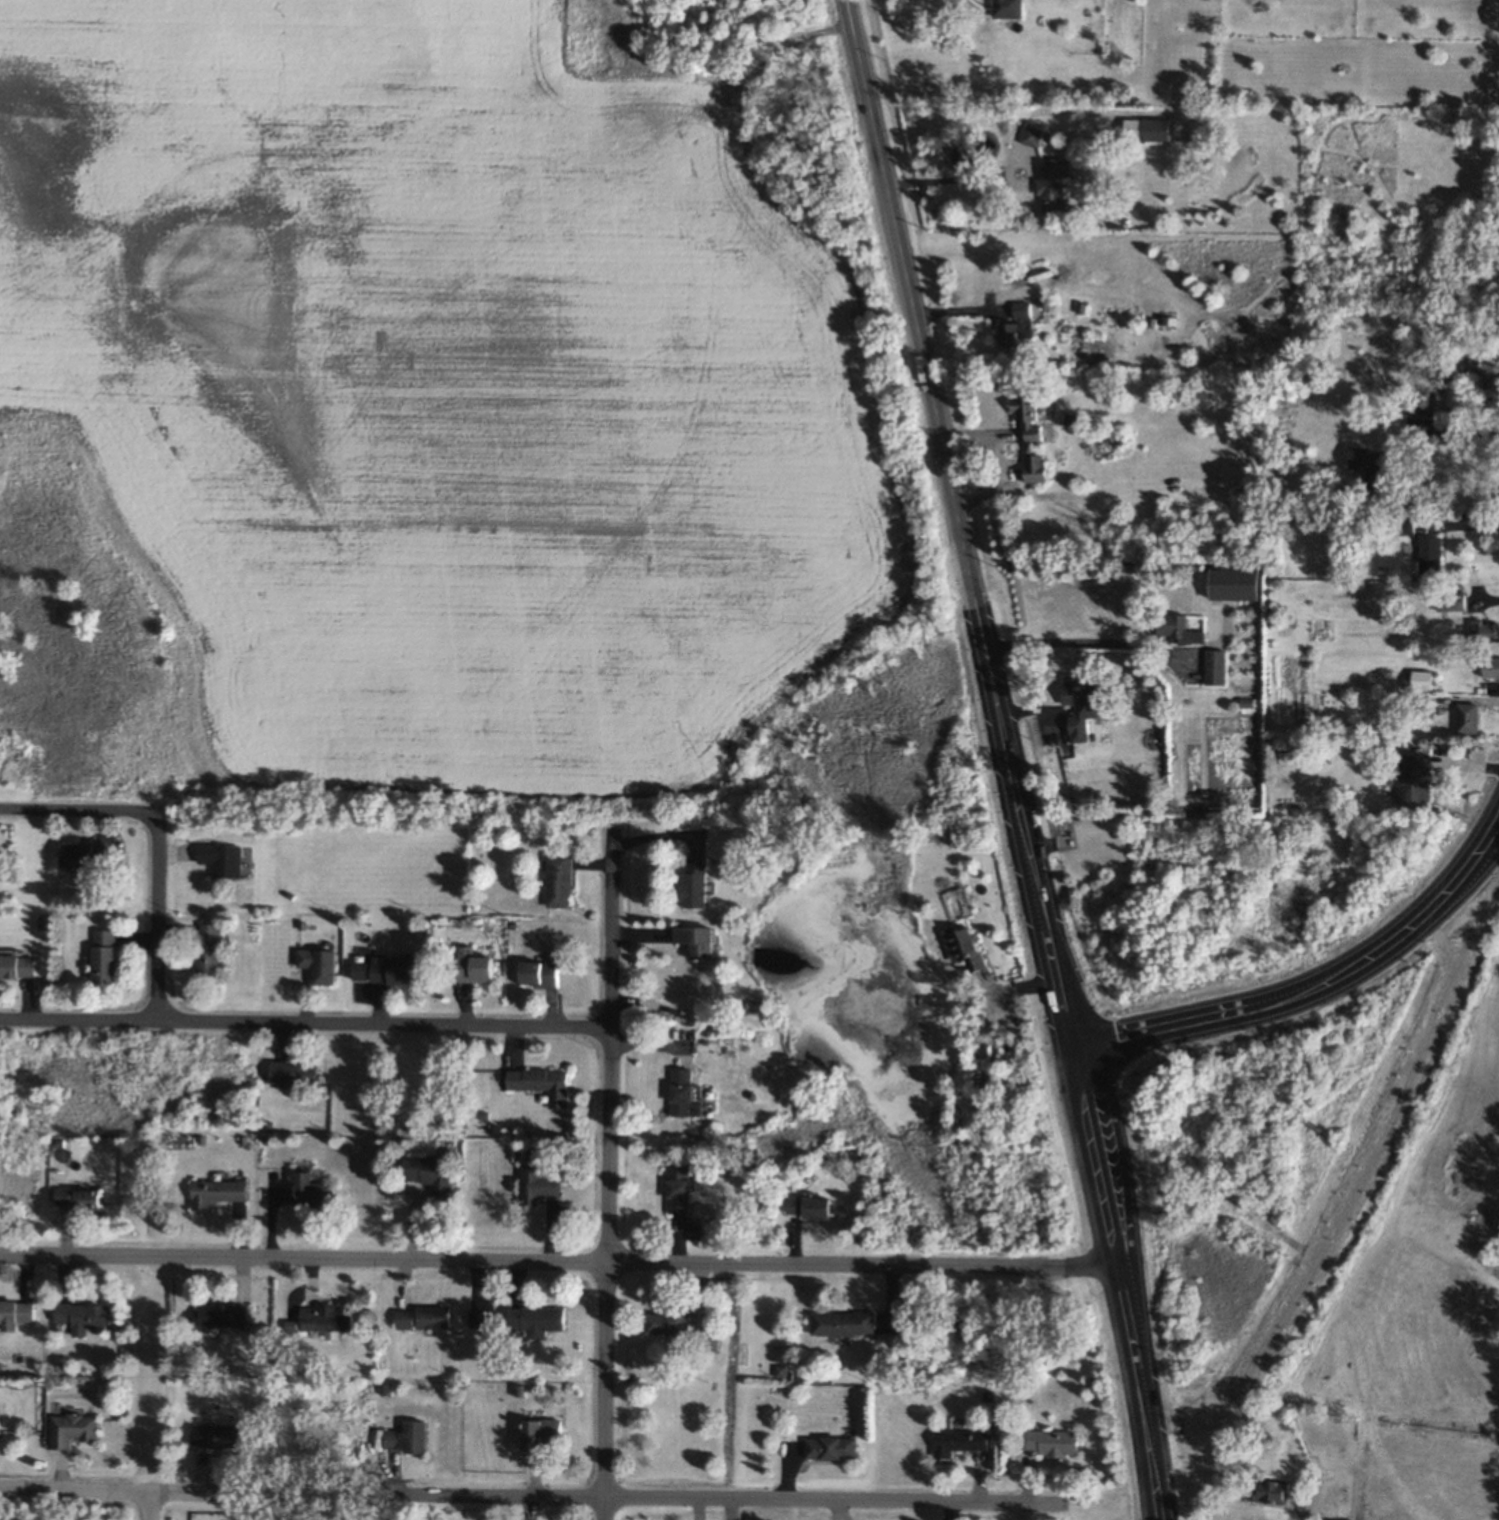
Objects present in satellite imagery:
building: (1008, 8)
building: (1146, 129)
building: (1032, 135)
road: (953, 179)
building: (1052, 182)
building: (1016, 325)
crop: (433, 390)
building: (1421, 410)
road: (1455, 434)
building: (1030, 437)
building: (1367, 461)
road: (1466, 524)
building: (1406, 526)
building: (1430, 554)
building: (1235, 583)
building: (1451, 603)
building: (1179, 629)
building: (1486, 630)
road: (1087, 641)
building: (1216, 666)
building: (1491, 667)
building: (1422, 680)
building: (1082, 704)
building: (1468, 717)
road: (1001, 718)
crop: (6, 754)
building: (1414, 776)
road: (77, 809)
building: (84, 857)
building: (218, 858)
building: (720, 866)
building: (556, 877)
building: (692, 884)
road: (155, 918)
building: (693, 941)
building: (963, 947)
building: (103, 957)
building: (207, 958)
building: (317, 966)
building: (14, 967)
building: (471, 969)
building: (383, 971)
building: (538, 973)
road: (1306, 973)
road: (305, 1024)
building: (296, 1073)
building: (532, 1081)
building: (681, 1091)
road: (1382, 1137)
building: (428, 1171)
road: (610, 1177)
building: (538, 1183)
building: (676, 1190)
building: (215, 1191)
building: (311, 1191)
building: (78, 1197)
building: (805, 1208)
road: (1281, 1237)
crop: (1422, 1257)
road: (559, 1263)
building: (14, 1314)
building: (219, 1316)
building: (82, 1317)
building: (479, 1317)
building: (430, 1318)
building: (324, 1319)
building: (537, 1321)
building: (841, 1324)
building: (665, 1325)
building: (74, 1430)
road: (1191, 1430)
building: (538, 1431)
building: (218, 1435)
building: (403, 1438)
building: (962, 1443)
building: (1049, 1443)
building: (828, 1448)
road: (1196, 1462)
road: (1155, 1479)
building: (1272, 1490)
road: (118, 1491)
road: (728, 1499)
road: (1294, 1505)
road: (149, 1506)
building: (1331, 1519)

